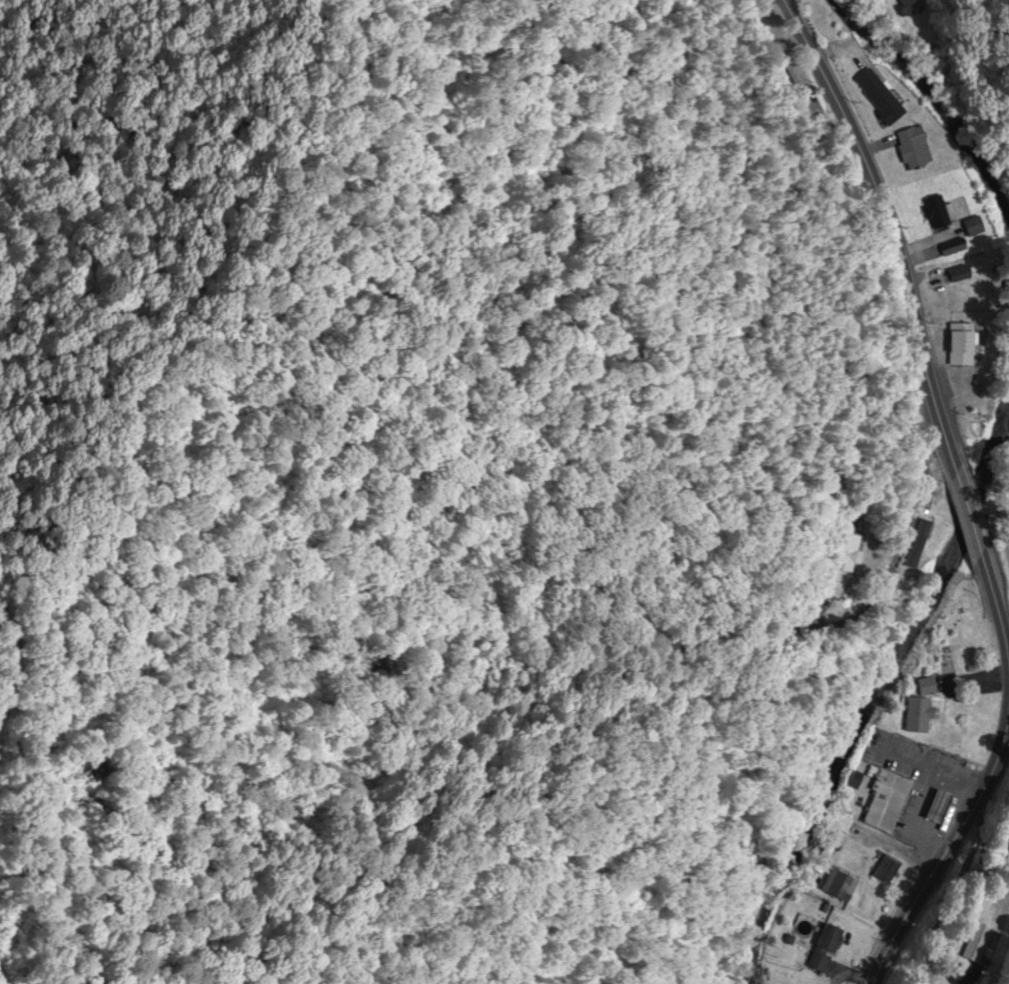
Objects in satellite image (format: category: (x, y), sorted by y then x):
building: (908, 7)
building: (879, 96)
river: (941, 99)
building: (913, 147)
building: (936, 213)
building: (972, 227)
road: (888, 234)
building: (953, 247)
building: (958, 274)
building: (962, 344)
road: (998, 516)
road: (967, 518)
building: (848, 552)
river: (910, 613)
road: (1008, 691)
building: (918, 715)
building: (945, 738)
road: (930, 768)
road: (984, 780)
building: (885, 797)
building: (939, 806)
gas station: (939, 806)
road: (892, 848)
building: (886, 870)
building: (840, 887)
building: (825, 948)

